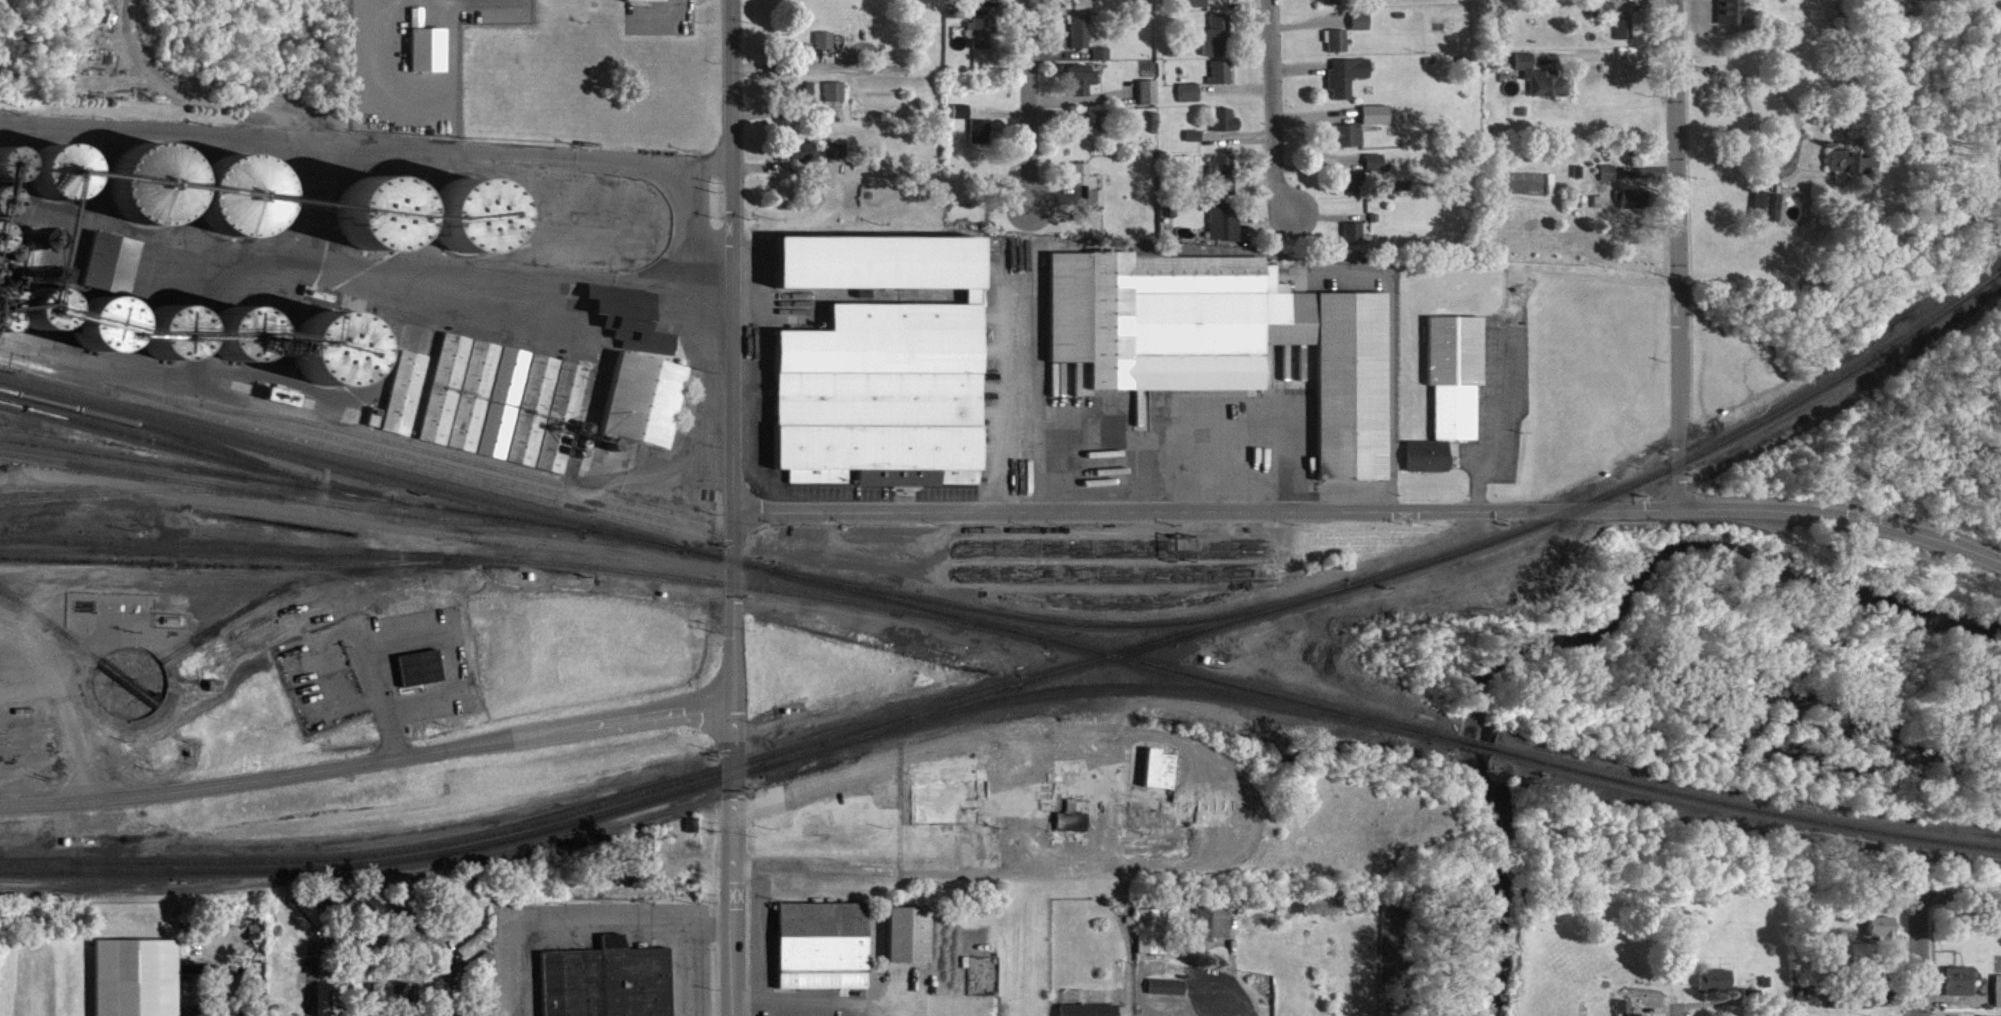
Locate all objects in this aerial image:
building: (1506, 1)
building: (1729, 1)
building: (1220, 2)
building: (647, 4)
building: (1334, 6)
building: (1199, 7)
building: (1081, 9)
building: (1603, 12)
building: (1732, 19)
building: (1362, 29)
building: (1625, 35)
building: (1081, 40)
building: (982, 42)
building: (1218, 44)
building: (826, 49)
building: (1339, 49)
building: (427, 54)
building: (805, 61)
building: (1103, 62)
road: (1608, 65)
building: (1221, 80)
building: (1348, 84)
building: (1082, 87)
building: (1543, 87)
building: (836, 100)
building: (1149, 100)
building: (806, 101)
building: (1190, 101)
road: (1031, 103)
road: (1274, 107)
building: (963, 120)
building: (1377, 123)
building: (1225, 128)
building: (1084, 138)
building: (981, 140)
building: (1351, 143)
building: (1195, 144)
road: (365, 146)
building: (836, 159)
building: (802, 160)
building: (1376, 170)
building: (1851, 174)
building: (156, 175)
building: (1610, 182)
building: (1223, 184)
building: (1085, 191)
building: (1354, 191)
building: (1633, 207)
building: (1768, 215)
building: (425, 223)
building: (1226, 230)
building: (1354, 242)
road: (683, 251)
road: (1676, 253)
building: (113, 271)
building: (632, 327)
building: (1225, 347)
building: (334, 357)
building: (882, 374)
building: (1456, 382)
building: (406, 401)
building: (460, 401)
building: (642, 410)
building: (505, 411)
building: (549, 422)
railway: (162, 438)
railway: (197, 458)
railway: (355, 460)
building: (1428, 464)
railway: (416, 465)
road: (29, 466)
railway: (459, 467)
railway: (197, 478)
railway: (392, 484)
railway: (157, 485)
road: (61, 489)
railway: (143, 499)
road: (732, 508)
road: (1371, 508)
railway: (492, 524)
railway: (1522, 528)
railway: (502, 529)
road: (398, 537)
railway: (35, 550)
railway: (505, 568)
railway: (70, 569)
railway: (297, 575)
road: (256, 585)
railway: (713, 597)
railway: (1065, 622)
railway: (227, 630)
railway: (52, 632)
road: (44, 653)
railway: (1114, 657)
building: (421, 677)
railway: (1076, 689)
railway: (132, 691)
railway: (190, 693)
building: (217, 695)
railway: (158, 718)
road: (69, 721)
railway: (894, 722)
railway: (1495, 751)
road: (366, 772)
building: (1157, 778)
road: (1028, 806)
railway: (1772, 811)
railway: (508, 828)
building: (1071, 831)
railway: (401, 857)
railway: (91, 865)
road: (1958, 897)
road: (574, 930)
building: (1213, 930)
building: (1883, 935)
building: (1151, 940)
road: (380, 943)
building: (910, 943)
building: (480, 947)
building: (824, 954)
road: (1917, 957)
road: (697, 958)
building: (1863, 961)
road: (223, 980)
building: (137, 982)
road: (310, 985)
building: (609, 985)
road: (447, 987)
building: (1717, 988)
building: (1960, 990)
building: (1167, 996)
building: (1998, 1000)
building: (379, 1001)
road: (824, 1004)
road: (1224, 1006)
building: (1863, 1007)
building: (1625, 1012)
road: (1676, 1013)
building: (1090, 1014)

